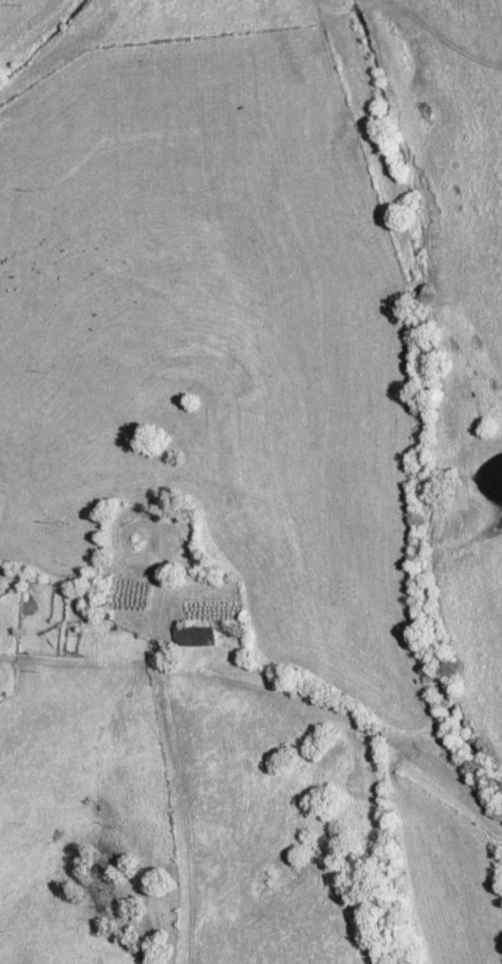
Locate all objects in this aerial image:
building: (191, 637)
road: (187, 814)

